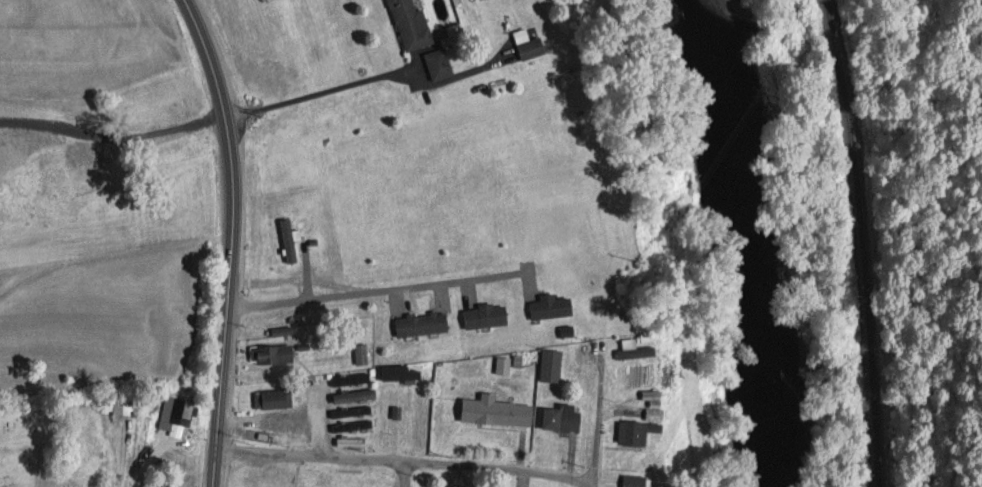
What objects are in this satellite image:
building: (409, 25)
building: (526, 45)
building: (436, 64)
road: (232, 240)
river: (745, 240)
building: (287, 241)
railway: (862, 241)
road: (378, 290)
building: (548, 307)
building: (483, 316)
building: (420, 324)
building: (281, 331)
building: (632, 350)
building: (270, 354)
building: (397, 372)
building: (349, 379)
building: (352, 396)
building: (271, 400)
building: (350, 412)
building: (491, 412)
road: (597, 416)
building: (559, 419)
building: (350, 426)
building: (630, 434)
road: (120, 450)
road: (404, 459)
road: (403, 473)
building: (266, 480)
building: (632, 480)
road: (592, 482)
building: (358, 483)

